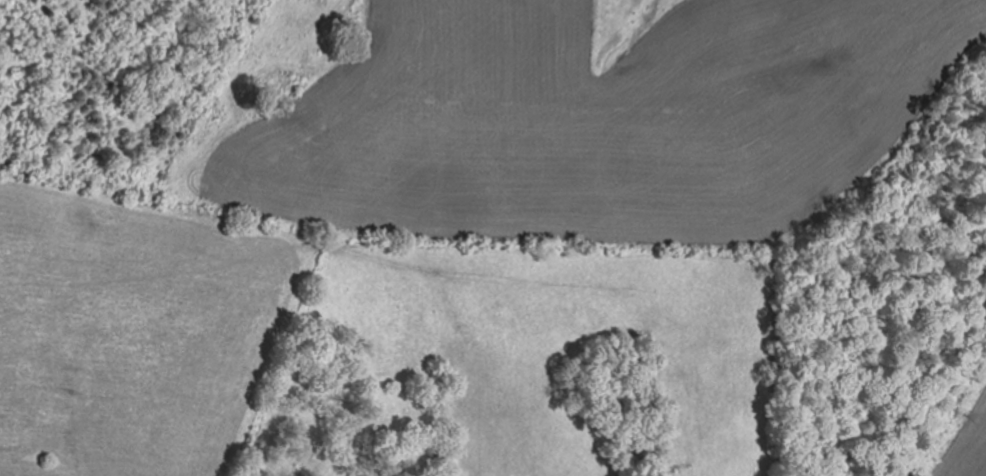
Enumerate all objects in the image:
road: (478, 123)

